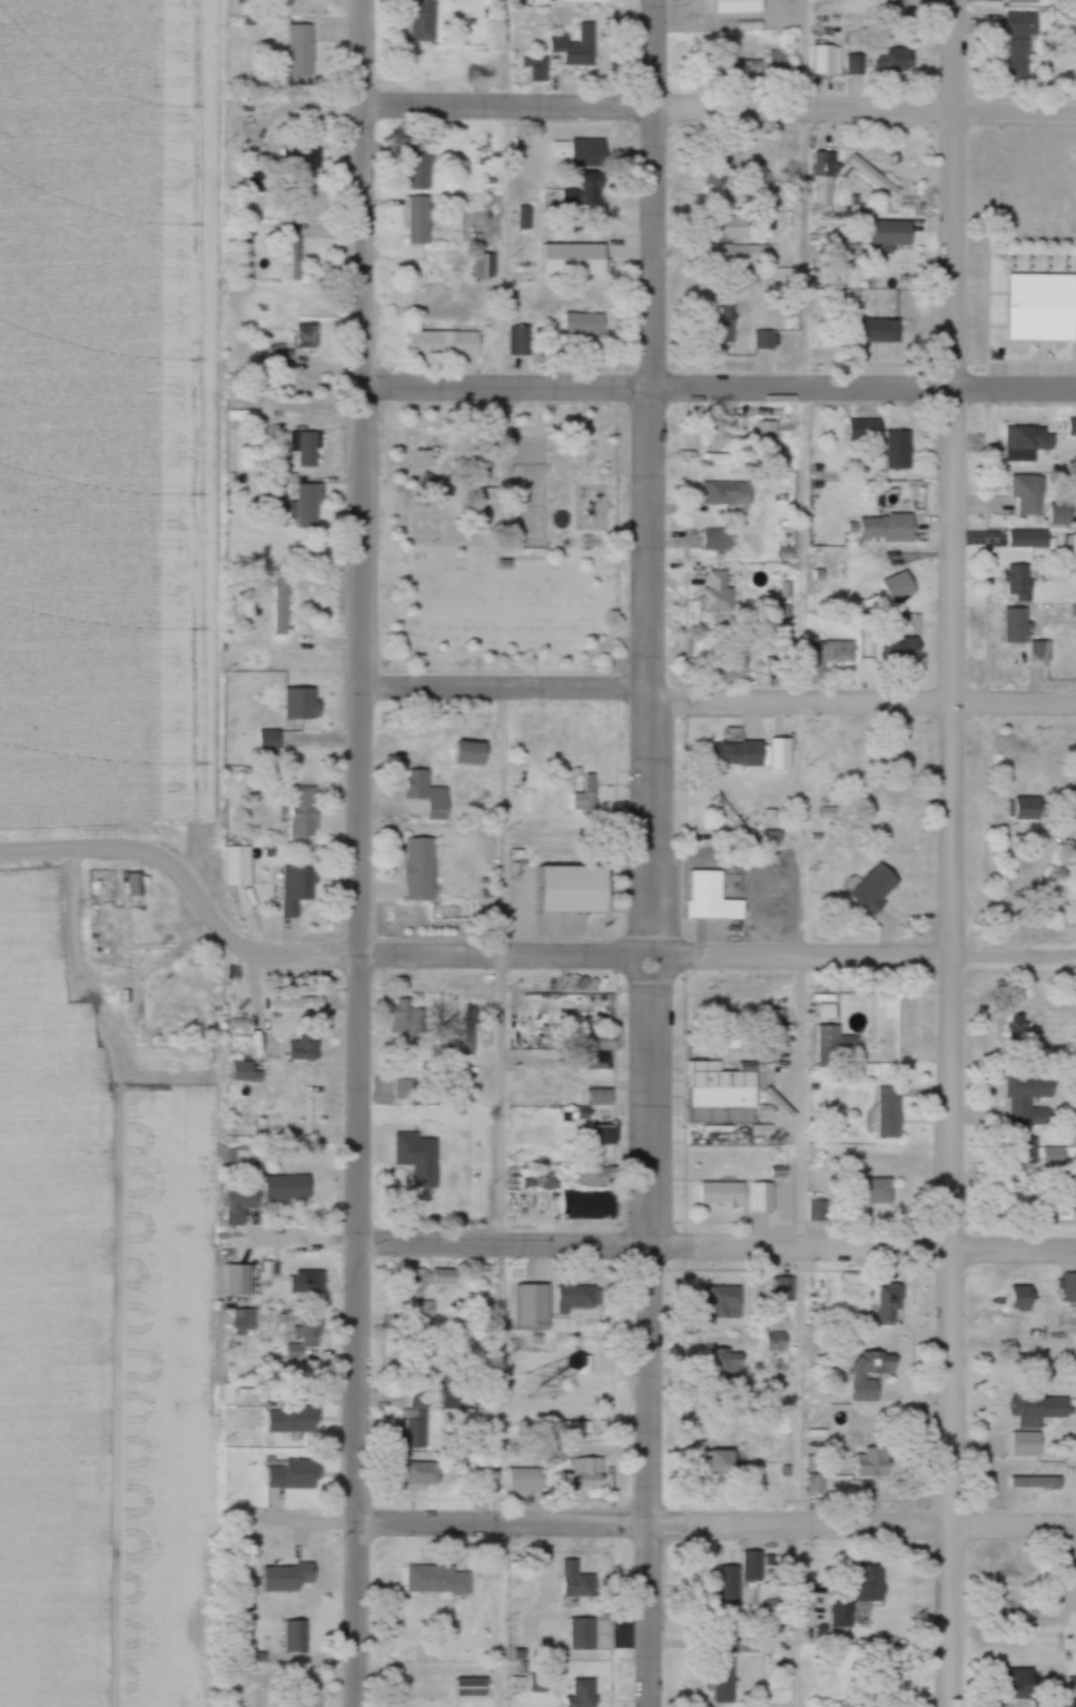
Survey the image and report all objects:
building: (1025, 2)
building: (424, 22)
building: (576, 47)
building: (1020, 48)
building: (302, 51)
building: (827, 61)
building: (894, 61)
building: (535, 63)
building: (780, 65)
building: (853, 66)
building: (747, 67)
road: (294, 110)
road: (719, 111)
building: (590, 154)
building: (302, 159)
building: (713, 174)
building: (421, 175)
building: (825, 178)
building: (876, 178)
building: (589, 190)
road: (806, 196)
building: (421, 220)
building: (731, 230)
building: (889, 234)
building: (742, 255)
building: (296, 265)
building: (485, 267)
building: (1043, 308)
building: (586, 330)
building: (877, 332)
building: (720, 333)
building: (305, 339)
building: (520, 342)
building: (764, 342)
building: (445, 345)
road: (653, 352)
building: (282, 355)
road: (720, 392)
building: (234, 417)
building: (1073, 428)
building: (866, 431)
building: (763, 434)
building: (721, 440)
building: (1029, 443)
building: (306, 450)
building: (900, 451)
building: (527, 454)
building: (430, 483)
building: (727, 495)
building: (1029, 495)
building: (308, 507)
building: (529, 516)
building: (889, 530)
building: (1029, 540)
building: (718, 541)
building: (1073, 552)
building: (1019, 584)
building: (720, 593)
building: (894, 593)
building: (282, 608)
building: (1025, 635)
building: (890, 652)
building: (724, 668)
road: (507, 690)
building: (303, 706)
road: (862, 708)
road: (651, 720)
building: (269, 741)
building: (472, 754)
building: (738, 756)
building: (428, 796)
building: (586, 798)
building: (1029, 810)
building: (306, 812)
road: (87, 850)
road: (362, 852)
road: (954, 854)
building: (239, 867)
building: (421, 871)
building: (135, 884)
building: (574, 890)
building: (877, 890)
building: (298, 891)
building: (713, 899)
road: (542, 957)
building: (241, 1003)
building: (297, 1004)
building: (719, 1010)
building: (571, 1014)
building: (406, 1019)
building: (1023, 1034)
building: (892, 1042)
building: (830, 1046)
building: (305, 1047)
building: (600, 1049)
building: (406, 1089)
building: (723, 1093)
building: (1030, 1099)
building: (891, 1111)
building: (604, 1136)
building: (1027, 1151)
building: (1053, 1155)
building: (612, 1175)
building: (288, 1186)
building: (430, 1186)
building: (876, 1191)
building: (464, 1193)
building: (740, 1195)
road: (503, 1198)
building: (592, 1204)
building: (240, 1205)
road: (802, 1206)
building: (819, 1210)
road: (655, 1221)
road: (718, 1252)
building: (266, 1271)
building: (435, 1277)
building: (239, 1280)
building: (308, 1282)
building: (1070, 1286)
building: (578, 1299)
building: (1021, 1301)
building: (725, 1303)
building: (891, 1304)
building: (534, 1308)
building: (423, 1311)
building: (244, 1325)
building: (305, 1338)
building: (727, 1363)
building: (873, 1373)
building: (422, 1399)
building: (468, 1402)
building: (1040, 1410)
building: (417, 1430)
building: (1027, 1453)
building: (877, 1457)
building: (724, 1466)
building: (591, 1473)
building: (422, 1476)
building: (525, 1480)
building: (1037, 1483)
road: (719, 1529)
building: (438, 1581)
building: (578, 1582)
building: (728, 1585)
building: (846, 1600)
building: (584, 1634)
building: (297, 1637)
building: (472, 1687)
building: (583, 1694)
building: (1056, 1703)

